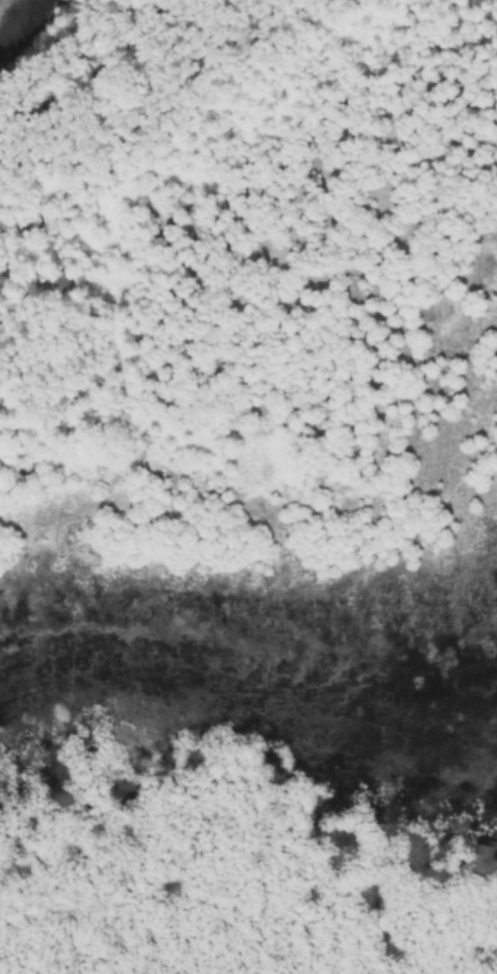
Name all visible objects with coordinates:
road: (89, 75)
road: (71, 405)

